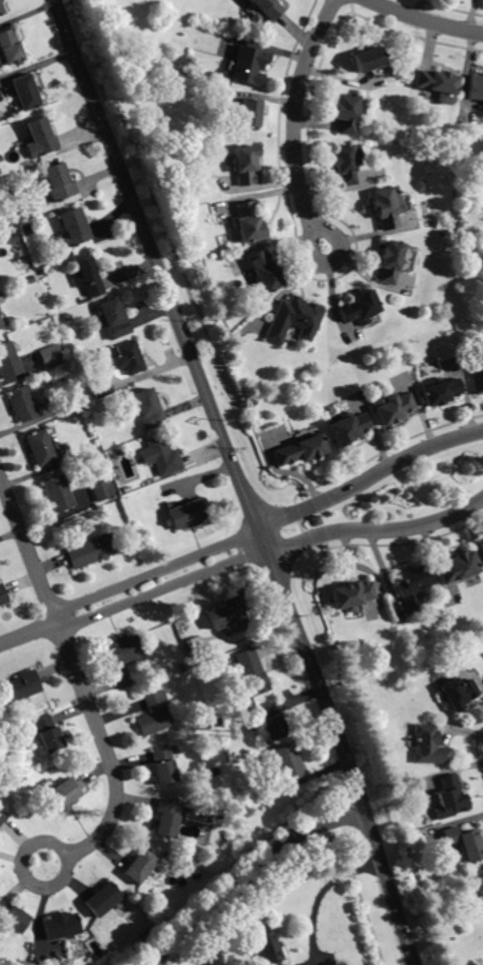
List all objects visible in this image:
building: (267, 8)
building: (1, 10)
road: (424, 20)
building: (9, 49)
building: (368, 61)
building: (249, 66)
building: (436, 82)
building: (475, 88)
building: (26, 93)
building: (248, 113)
building: (347, 114)
road: (295, 122)
building: (41, 137)
building: (346, 164)
building: (245, 165)
building: (58, 183)
building: (387, 208)
building: (21, 216)
building: (248, 223)
building: (73, 228)
building: (12, 239)
building: (391, 263)
building: (39, 273)
building: (263, 274)
building: (86, 277)
building: (30, 281)
building: (361, 309)
building: (114, 320)
building: (294, 321)
building: (1, 325)
building: (51, 356)
building: (129, 359)
building: (8, 362)
building: (477, 381)
building: (102, 389)
building: (440, 392)
building: (22, 404)
building: (394, 409)
building: (148, 410)
building: (349, 430)
building: (40, 449)
building: (301, 451)
building: (163, 457)
road: (370, 477)
road: (239, 479)
building: (128, 490)
building: (103, 491)
building: (57, 495)
building: (187, 515)
building: (316, 521)
road: (377, 535)
building: (481, 547)
building: (91, 552)
building: (458, 568)
building: (412, 588)
road: (132, 592)
building: (3, 596)
building: (352, 596)
building: (225, 614)
building: (194, 645)
building: (122, 651)
building: (252, 673)
road: (81, 685)
building: (18, 688)
building: (459, 694)
building: (153, 714)
building: (270, 722)
building: (46, 734)
building: (430, 747)
building: (288, 763)
building: (163, 766)
building: (60, 796)
building: (226, 796)
building: (451, 799)
building: (2, 817)
building: (167, 817)
building: (327, 843)
building: (466, 844)
building: (140, 867)
road: (247, 876)
building: (478, 886)
road: (319, 896)
building: (101, 900)
building: (12, 918)
building: (59, 926)
building: (143, 938)
building: (268, 946)
road: (146, 963)

